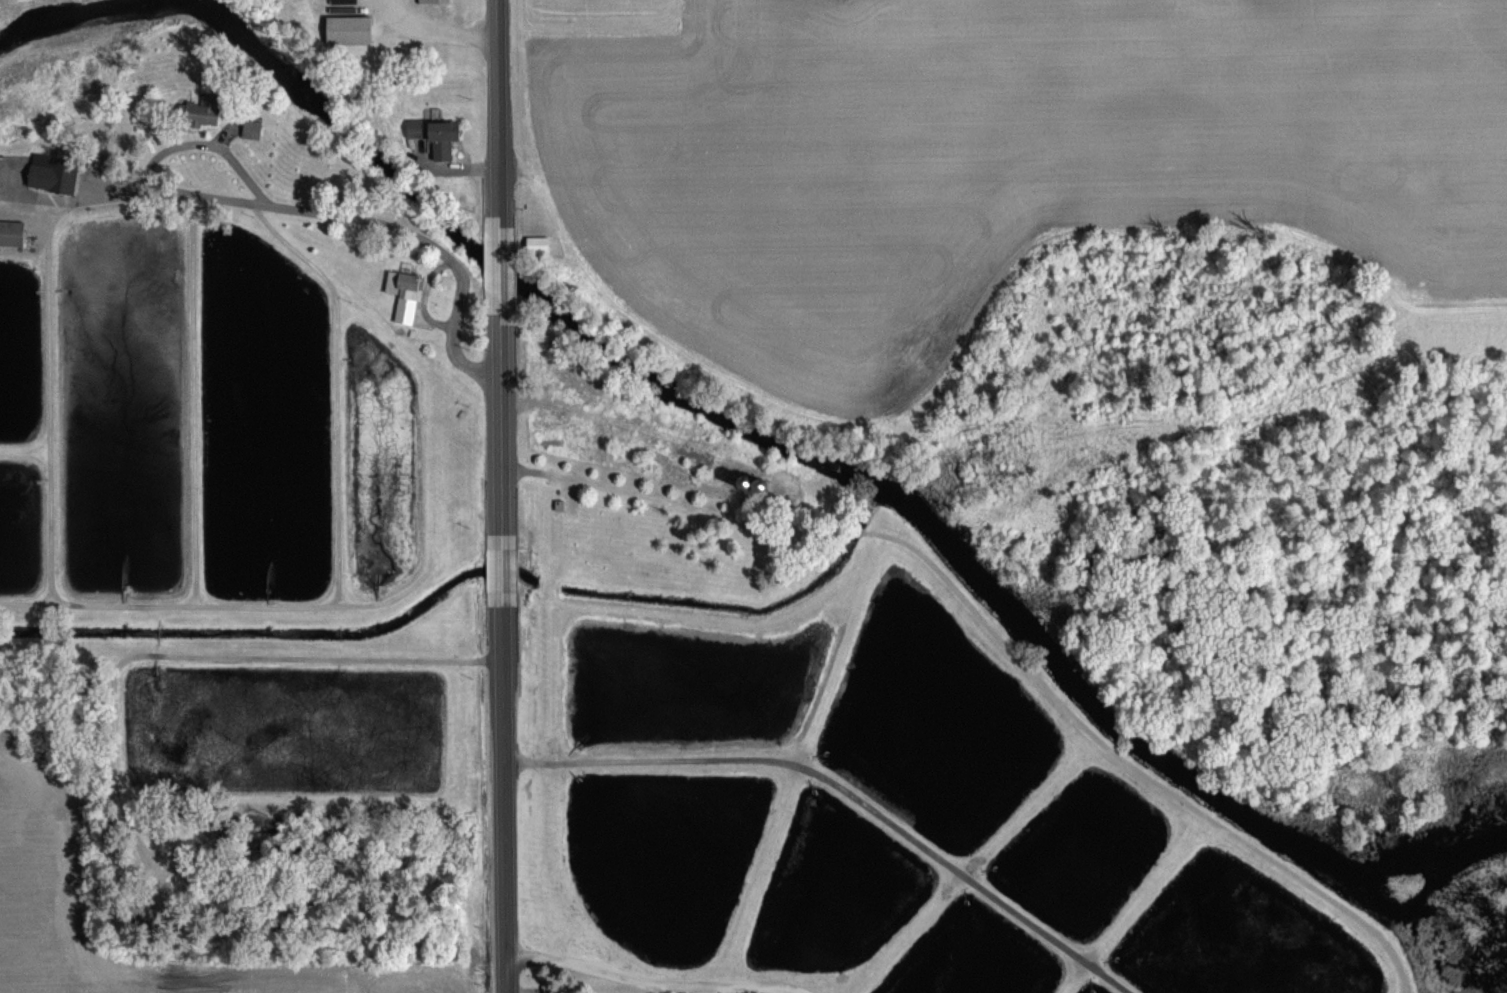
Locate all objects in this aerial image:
building: (433, 1)
river: (47, 20)
building: (347, 30)
road: (492, 106)
building: (202, 111)
building: (251, 130)
building: (433, 135)
building: (50, 173)
building: (10, 234)
building: (535, 245)
road: (492, 270)
building: (400, 291)
river: (845, 461)
road: (549, 472)
road: (497, 659)
road: (1022, 661)
aquafarm: (684, 680)
aquafarm: (931, 720)
road: (819, 770)
aquafarm: (1080, 847)
aquafarm: (659, 850)
aquafarm: (834, 883)
aquafarm: (1237, 939)
aquafarm: (970, 956)
road: (1110, 975)
road: (656, 980)
road: (520, 987)
aquafarm: (1089, 988)

